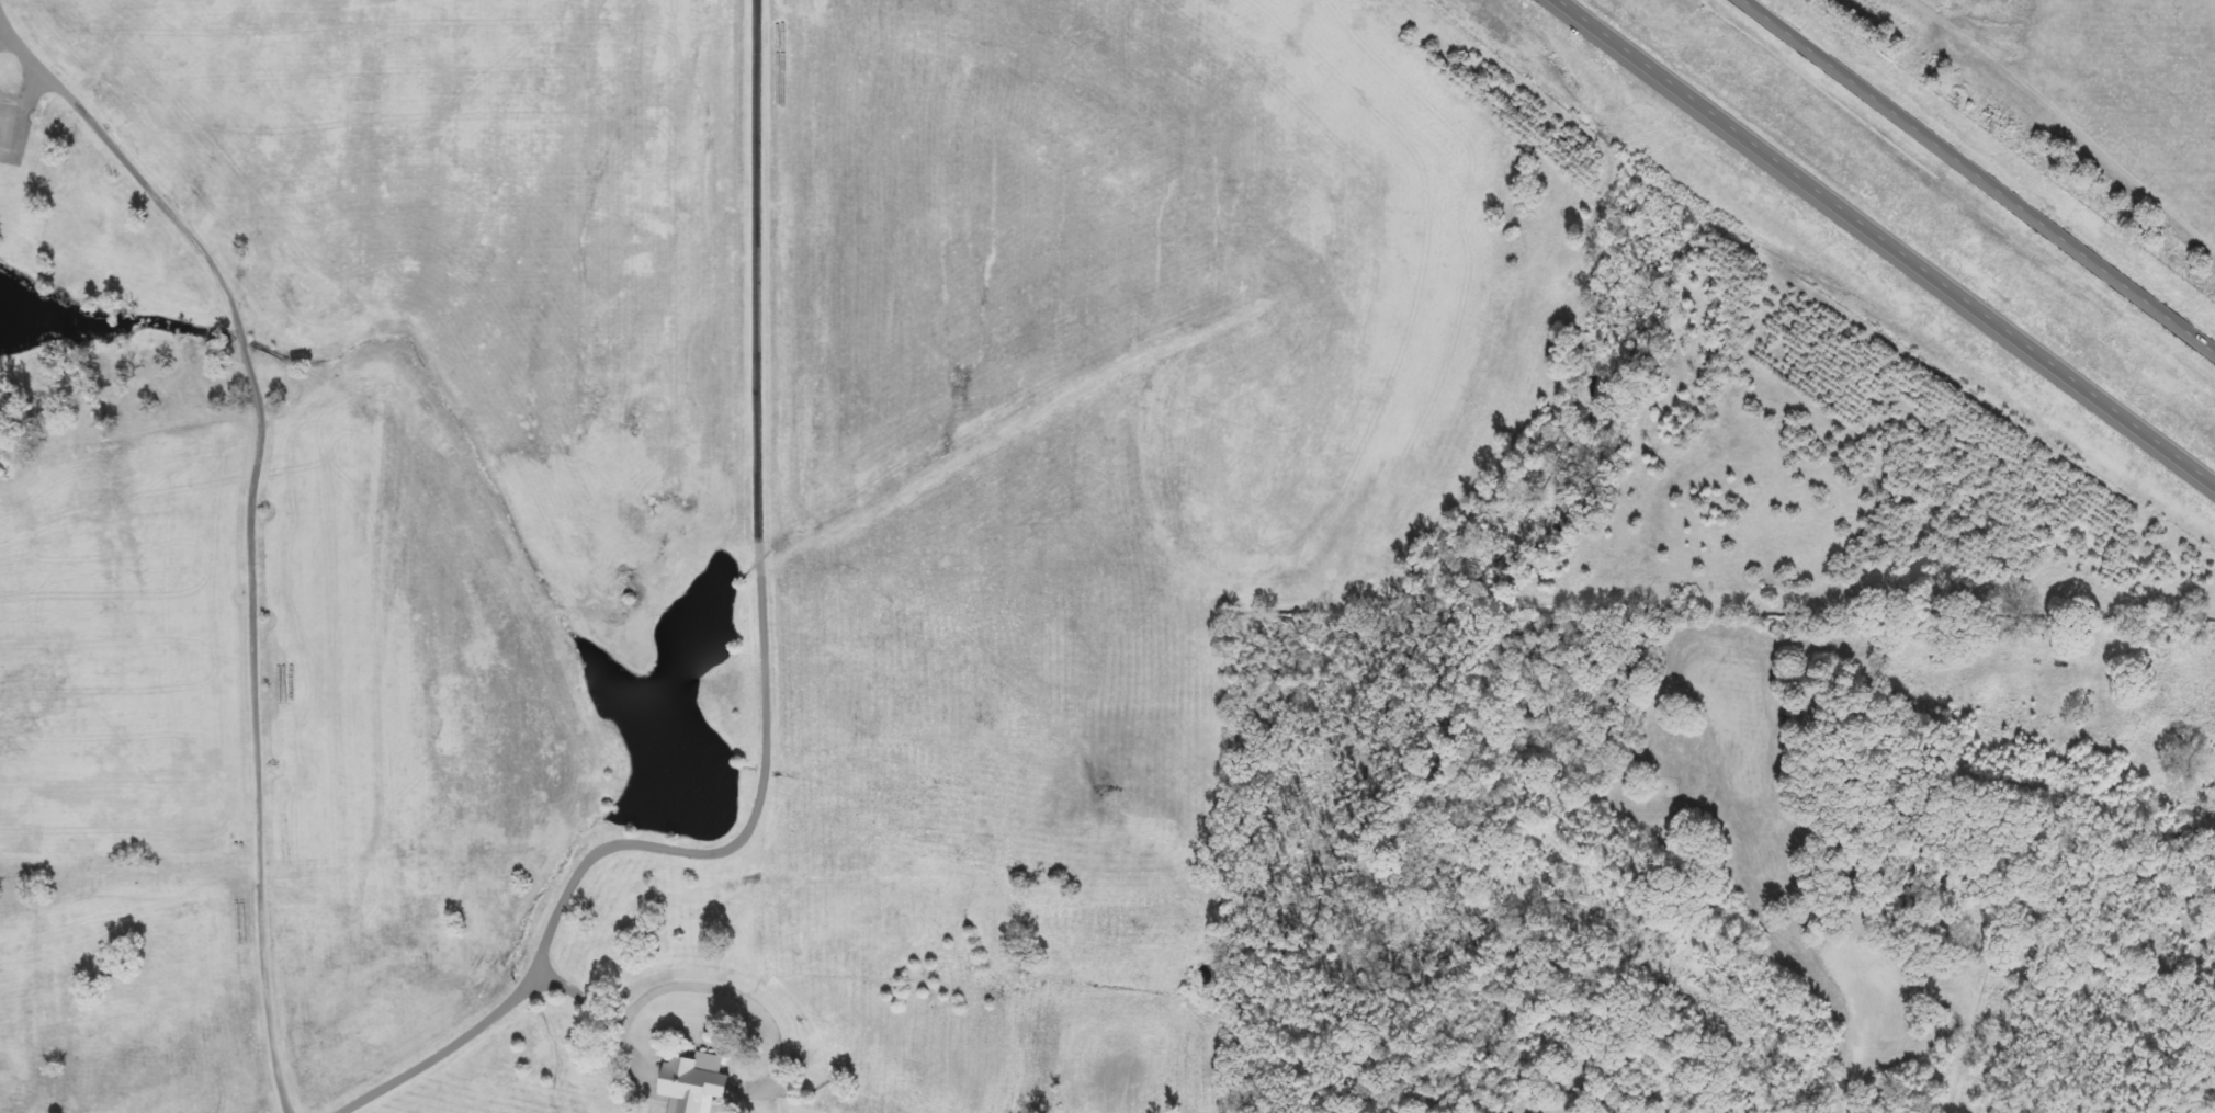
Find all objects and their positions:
road: (1976, 178)
road: (1888, 243)
road: (773, 689)
building: (694, 1083)

